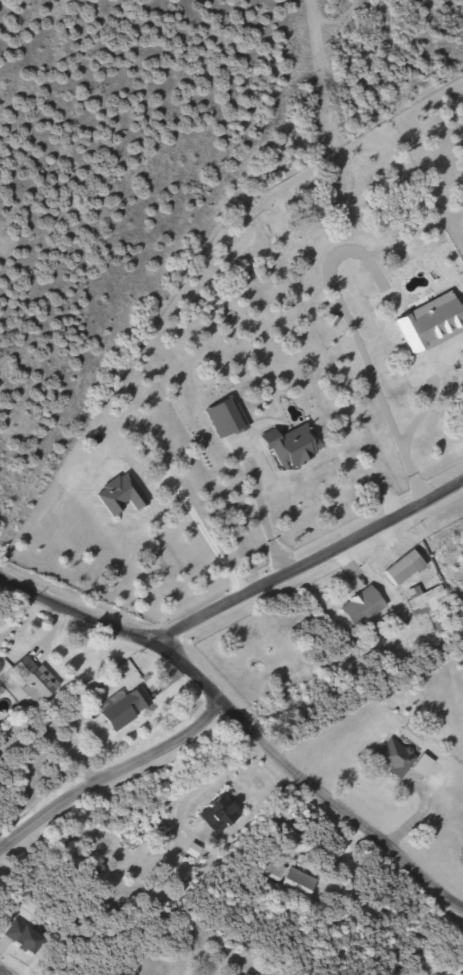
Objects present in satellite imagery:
building: (298, 255)
road: (307, 559)
building: (406, 567)
building: (365, 602)
building: (435, 606)
building: (36, 679)
building: (129, 708)
road: (246, 723)
building: (397, 758)
road: (113, 773)
building: (222, 813)
building: (292, 877)
building: (26, 937)
road: (3, 972)

